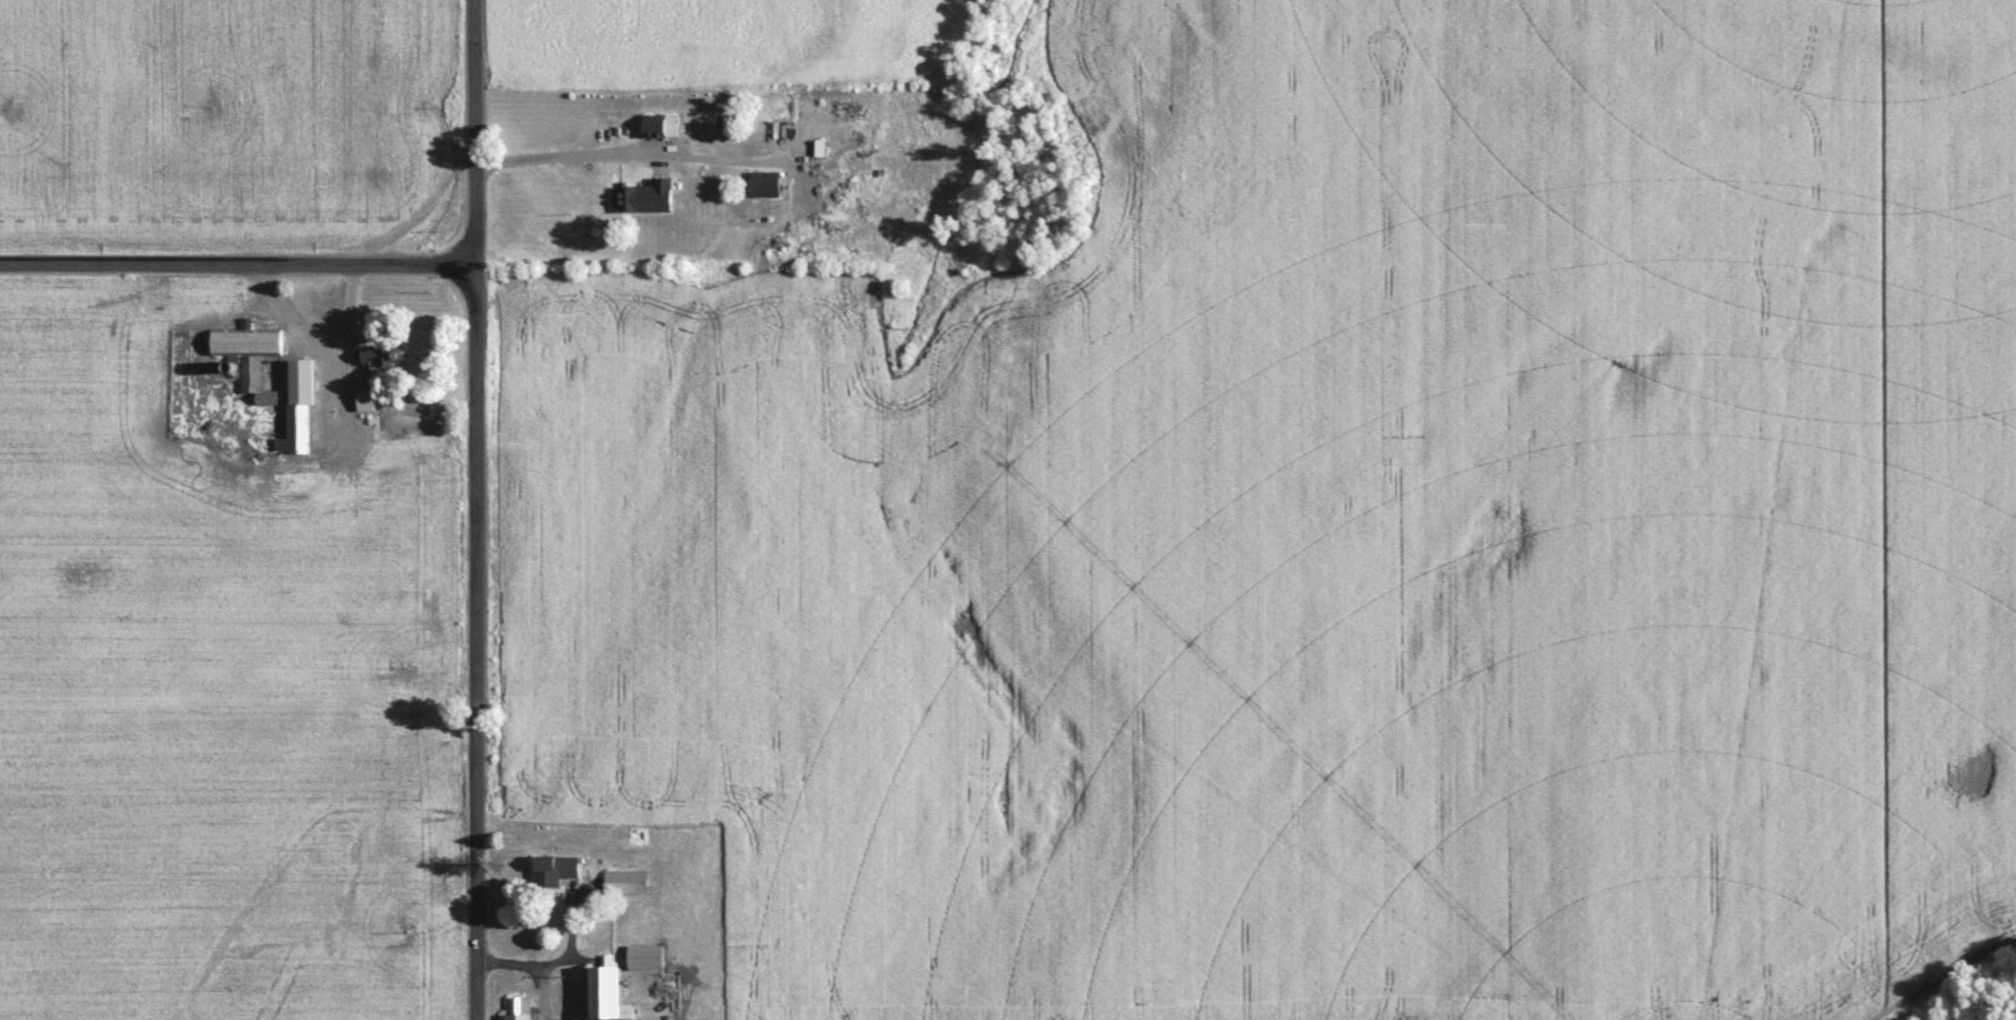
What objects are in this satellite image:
building: (658, 128)
road: (475, 133)
road: (556, 157)
building: (768, 185)
building: (645, 199)
road: (238, 265)
building: (251, 354)
building: (377, 363)
building: (301, 412)
road: (478, 642)
building: (556, 871)
building: (629, 883)
building: (648, 958)
road: (535, 964)
building: (610, 993)
building: (521, 1009)

